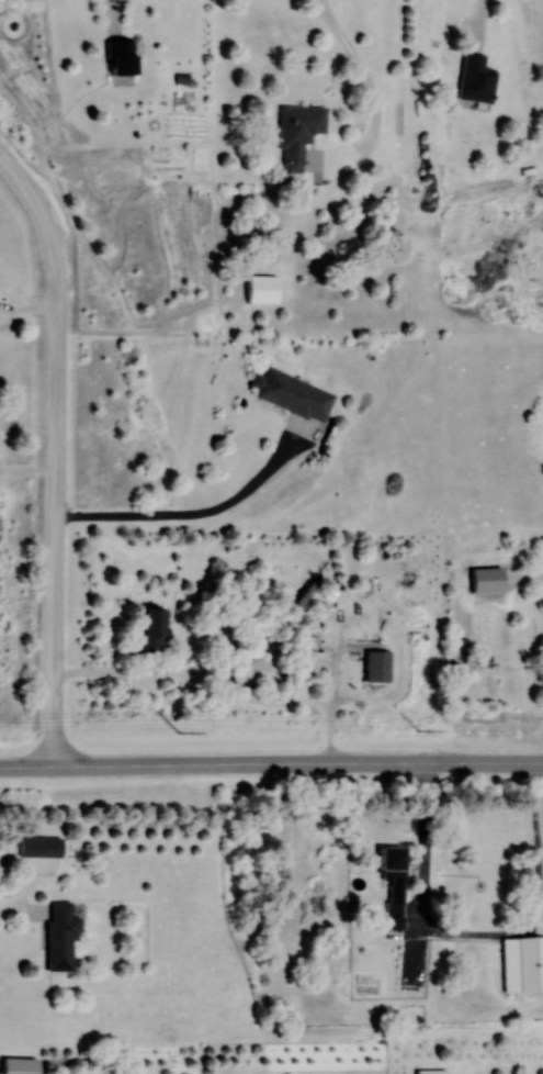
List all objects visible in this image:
building: (121, 57)
building: (476, 78)
road: (373, 90)
building: (298, 132)
building: (262, 289)
building: (293, 393)
road: (56, 452)
road: (188, 510)
building: (152, 628)
building: (377, 665)
building: (258, 670)
road: (214, 694)
power tower: (417, 731)
power tower: (179, 732)
road: (271, 762)
building: (41, 847)
building: (394, 884)
building: (61, 935)
road: (478, 935)
building: (523, 963)
building: (21, 1065)
building: (432, 1071)

